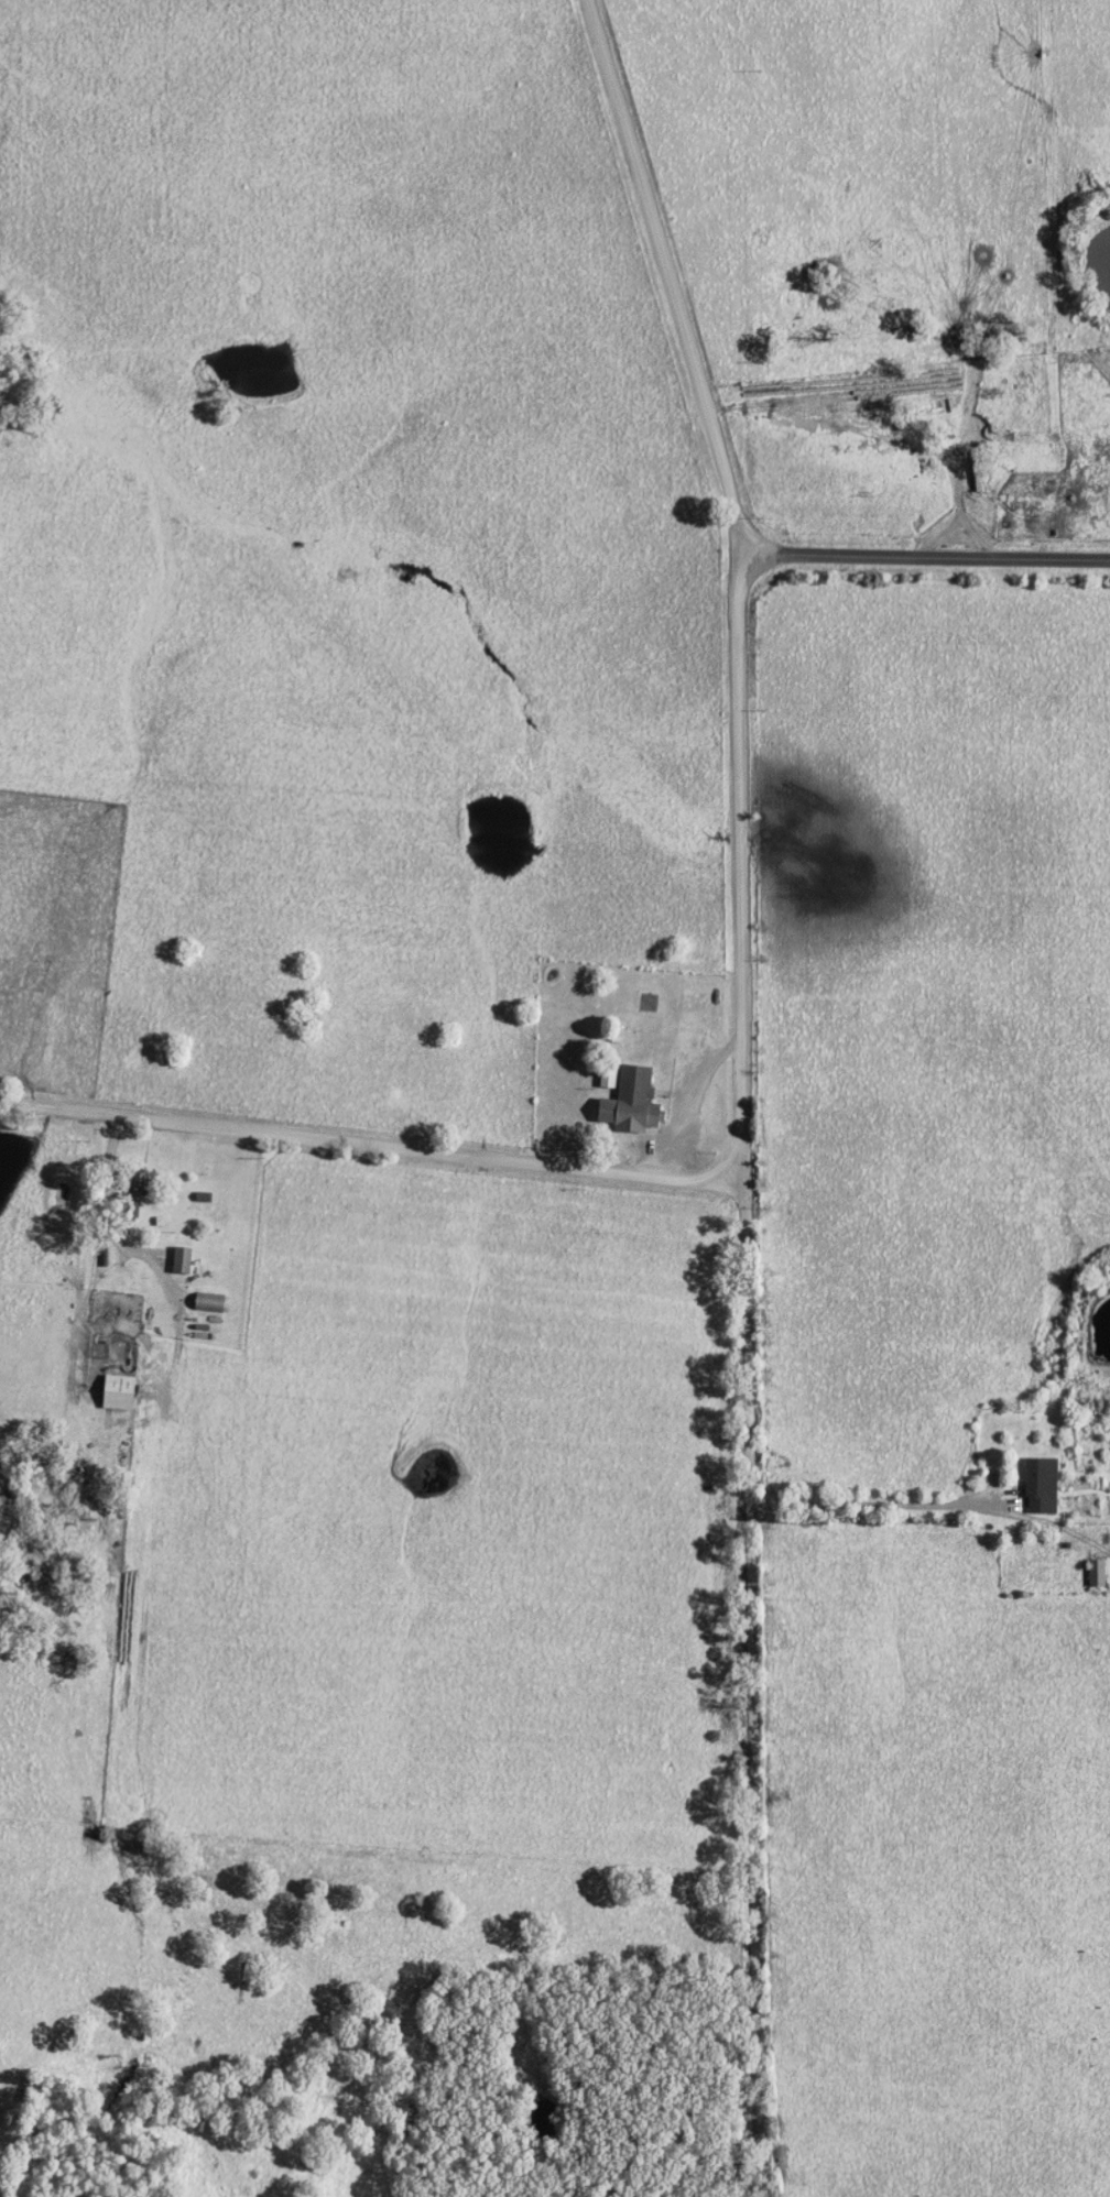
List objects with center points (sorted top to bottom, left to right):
road: (674, 280)
road: (929, 558)
road: (686, 1100)
building: (629, 1102)
road: (371, 1146)
road: (102, 1228)
building: (182, 1261)
road: (748, 1377)
building: (117, 1393)
building: (1041, 1486)
road: (873, 1502)
building: (1097, 1574)
road: (935, 2046)

